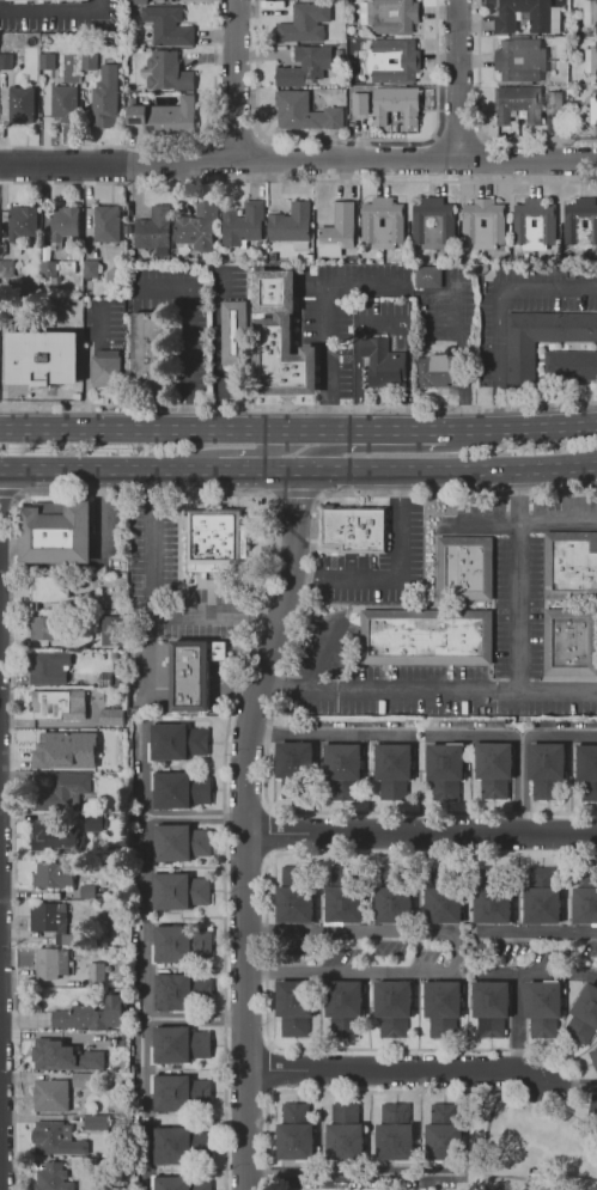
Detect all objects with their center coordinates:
building: (47, 1)
building: (138, 2)
road: (55, 11)
building: (590, 12)
building: (390, 16)
building: (528, 17)
building: (305, 23)
building: (165, 28)
building: (10, 57)
building: (44, 60)
building: (520, 60)
building: (591, 60)
building: (86, 61)
building: (392, 61)
building: (306, 66)
building: (166, 72)
road: (455, 79)
road: (234, 80)
building: (103, 97)
building: (62, 102)
building: (554, 103)
building: (20, 104)
building: (360, 104)
building: (518, 104)
building: (396, 105)
road: (212, 111)
building: (305, 112)
building: (591, 114)
building: (165, 117)
road: (477, 126)
road: (456, 132)
road: (236, 133)
road: (347, 140)
road: (62, 148)
road: (251, 157)
road: (473, 157)
road: (219, 158)
road: (360, 159)
road: (437, 159)
road: (62, 167)
road: (297, 182)
building: (20, 221)
building: (105, 222)
building: (371, 222)
building: (421, 222)
building: (523, 222)
building: (61, 224)
building: (483, 224)
building: (242, 225)
building: (581, 225)
building: (292, 226)
building: (199, 228)
building: (339, 228)
building: (154, 231)
building: (128, 236)
building: (45, 268)
building: (427, 276)
road: (495, 307)
road: (327, 319)
road: (380, 322)
building: (232, 331)
building: (280, 337)
building: (541, 340)
road: (183, 341)
building: (147, 353)
building: (382, 364)
road: (85, 367)
building: (571, 367)
building: (437, 371)
building: (104, 373)
road: (520, 428)
road: (394, 429)
road: (172, 431)
road: (317, 448)
road: (287, 453)
road: (447, 472)
road: (108, 474)
road: (246, 475)
road: (286, 475)
road: (528, 521)
building: (352, 527)
building: (55, 533)
building: (215, 539)
building: (571, 566)
building: (465, 569)
road: (394, 578)
road: (517, 581)
building: (51, 588)
road: (150, 610)
building: (44, 627)
building: (110, 631)
building: (425, 636)
building: (571, 643)
road: (267, 654)
building: (44, 666)
building: (191, 675)
road: (428, 690)
building: (53, 706)
building: (110, 716)
road: (424, 736)
building: (176, 739)
building: (65, 750)
building: (294, 768)
building: (343, 769)
building: (445, 769)
building: (546, 769)
building: (394, 770)
building: (497, 770)
building: (586, 770)
road: (519, 786)
building: (65, 788)
building: (181, 789)
road: (193, 814)
building: (95, 831)
building: (47, 836)
road: (421, 836)
building: (178, 841)
building: (45, 875)
building: (294, 891)
building: (343, 891)
building: (391, 892)
building: (181, 893)
building: (492, 893)
building: (441, 896)
building: (540, 896)
building: (585, 898)
building: (47, 917)
road: (140, 924)
building: (179, 946)
road: (455, 950)
building: (50, 964)
road: (522, 969)
building: (93, 974)
building: (181, 991)
building: (293, 1003)
building: (343, 1003)
building: (392, 1006)
building: (444, 1006)
building: (544, 1007)
building: (493, 1008)
building: (115, 1011)
road: (248, 1013)
building: (77, 1017)
building: (584, 1018)
road: (518, 1024)
building: (86, 1038)
building: (177, 1044)
building: (117, 1054)
building: (61, 1055)
building: (595, 1058)
road: (142, 1062)
road: (395, 1076)
building: (84, 1080)
road: (569, 1080)
building: (178, 1088)
building: (50, 1094)
building: (593, 1106)
building: (93, 1125)
building: (394, 1133)
building: (345, 1134)
building: (296, 1135)
building: (443, 1135)
building: (56, 1140)
building: (178, 1142)
road: (354, 1177)
building: (51, 1178)
building: (181, 1182)

